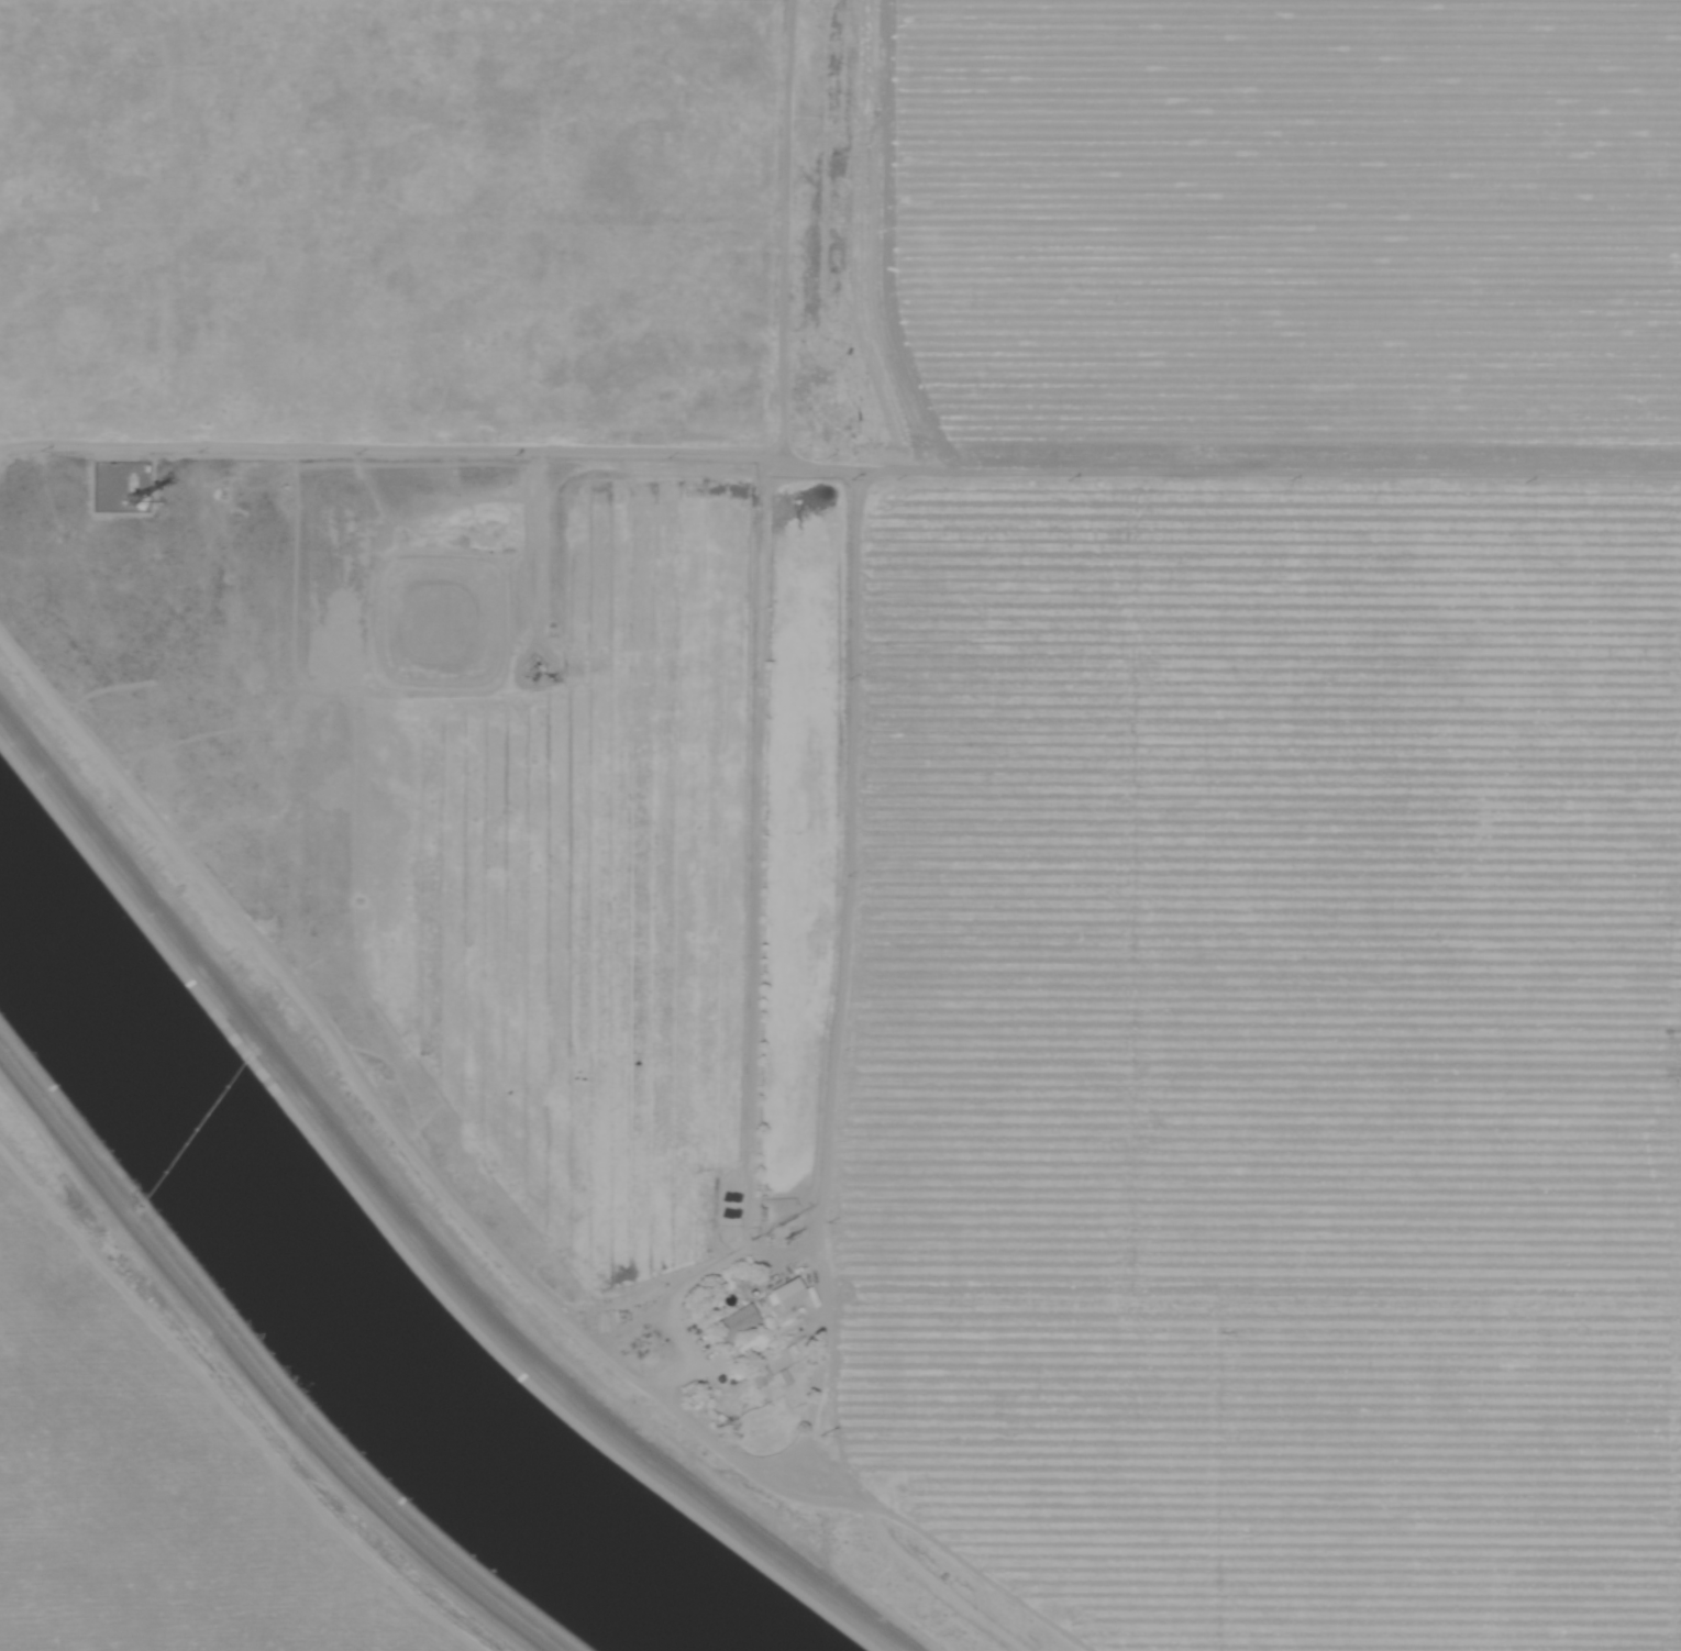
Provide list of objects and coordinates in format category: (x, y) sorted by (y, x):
road: (782, 230)
crop: (1055, 806)
road: (799, 1248)
building: (775, 1292)
building: (725, 1320)
road: (252, 1373)
crop: (151, 1476)

